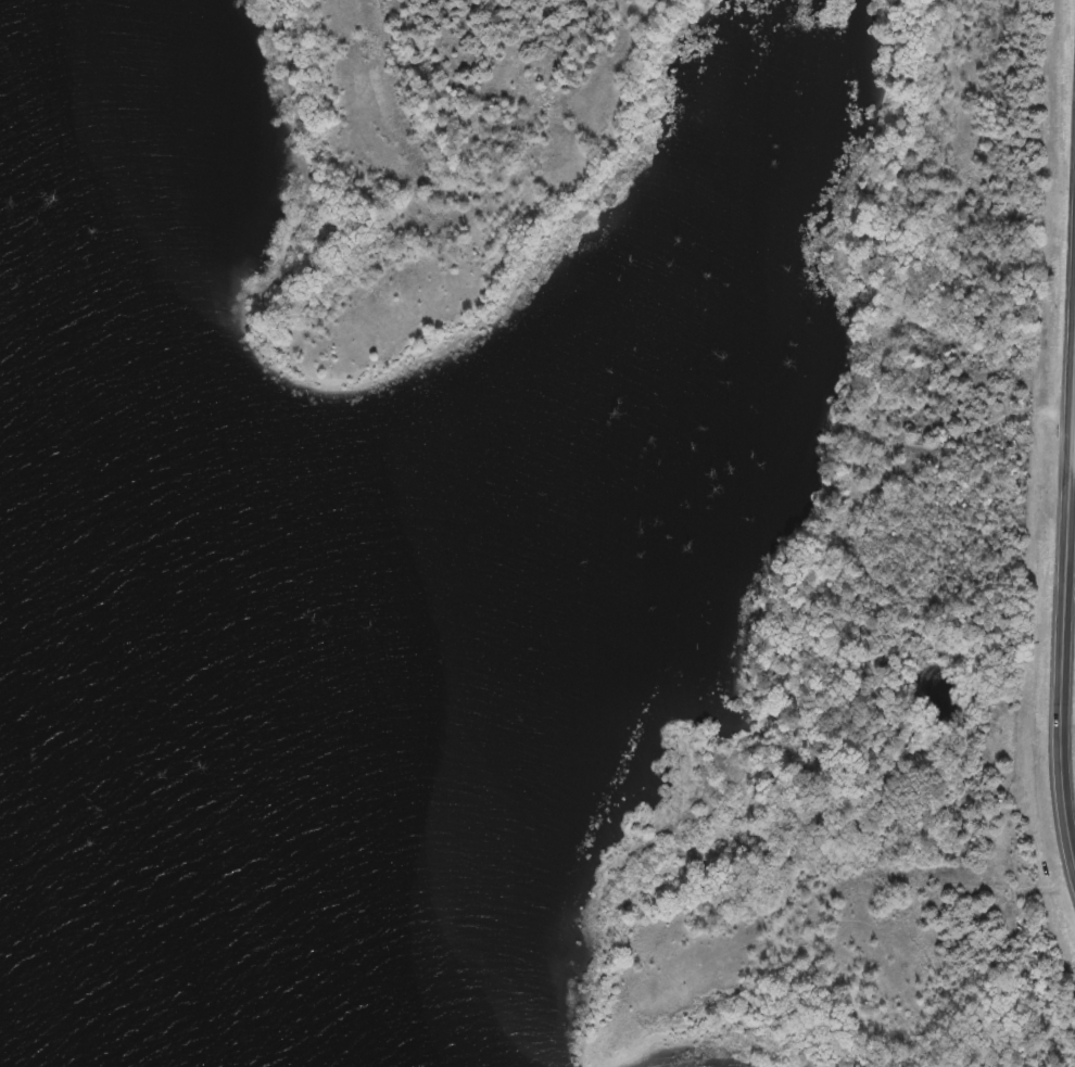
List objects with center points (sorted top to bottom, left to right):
road: (1072, 468)
road: (1062, 608)

